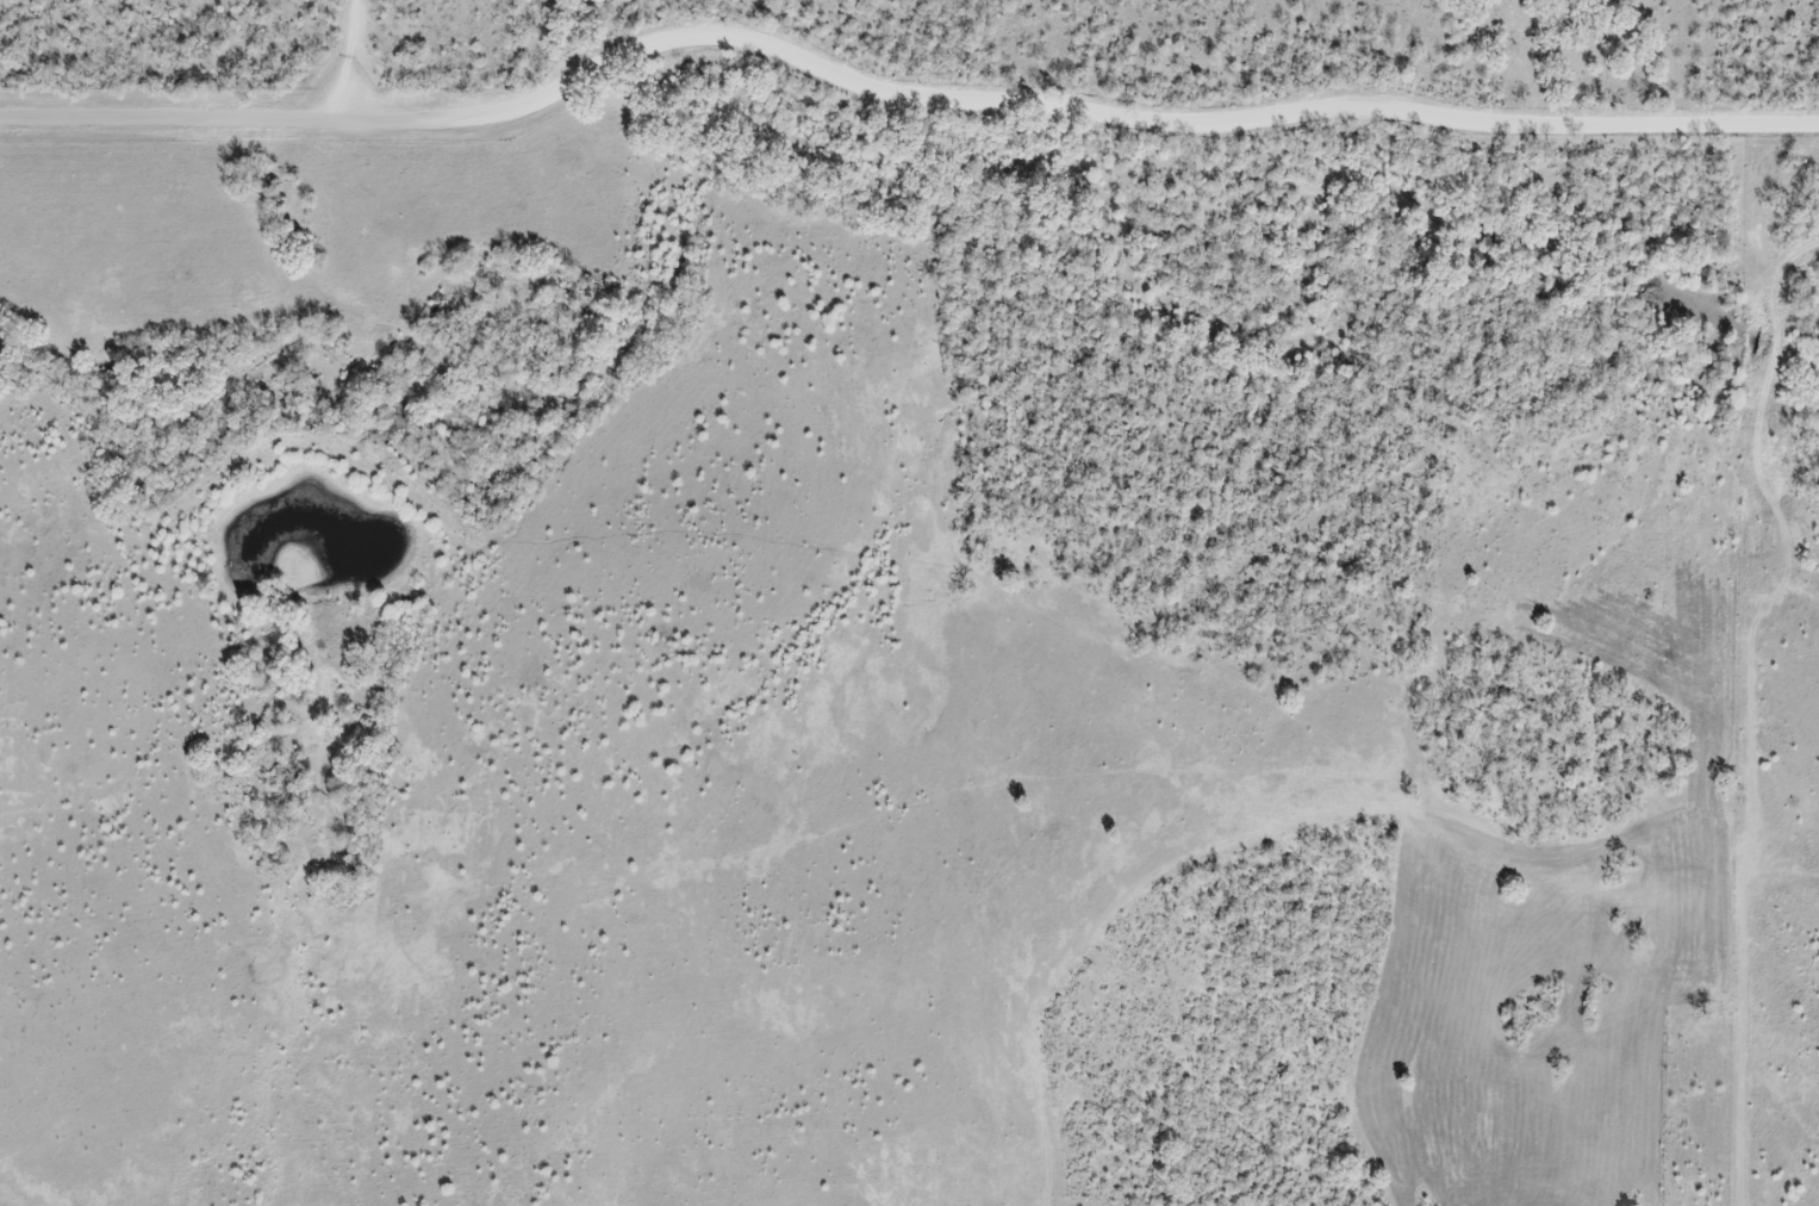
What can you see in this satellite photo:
road: (345, 62)
road: (898, 85)

